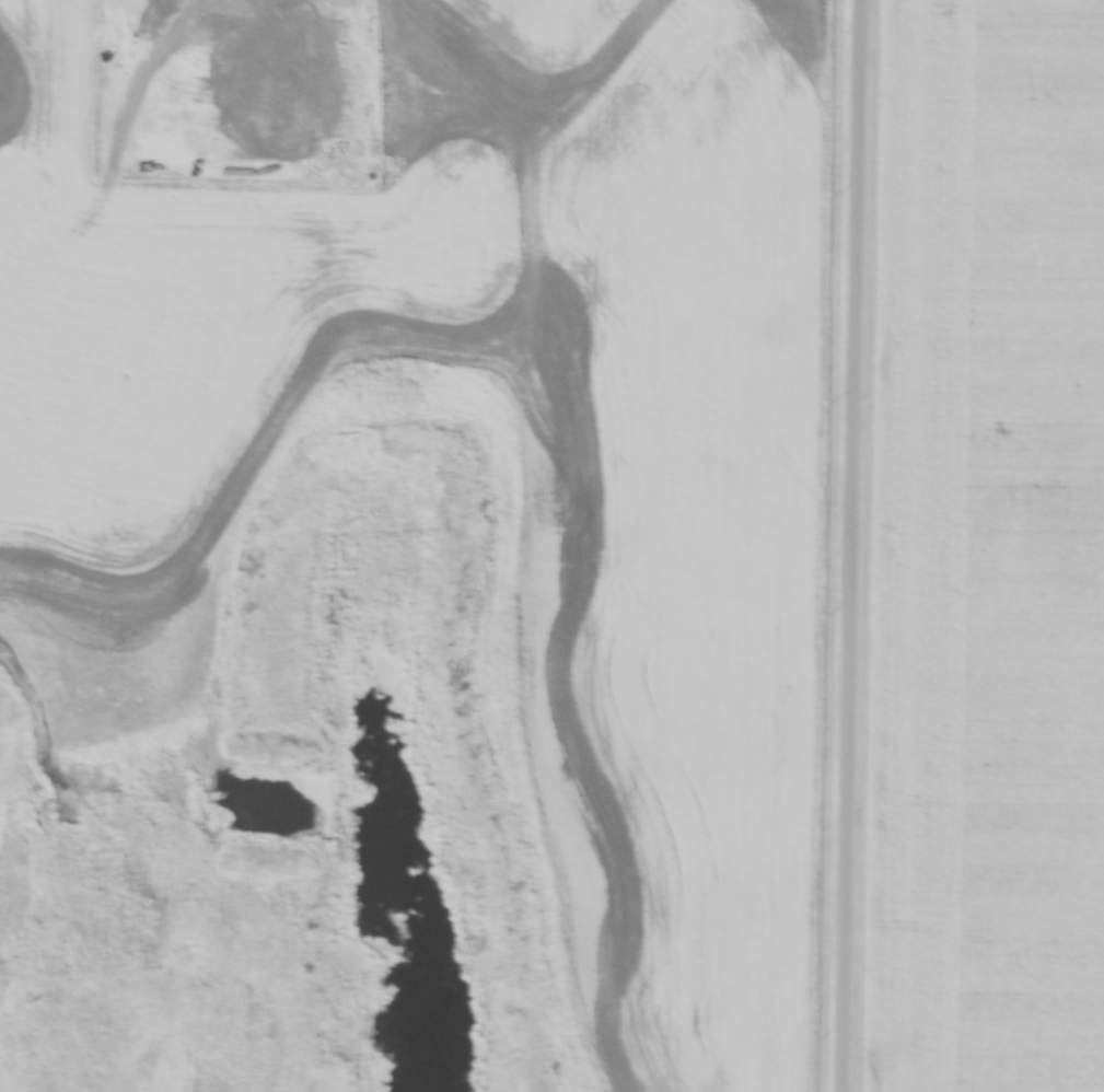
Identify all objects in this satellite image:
road: (851, 546)

